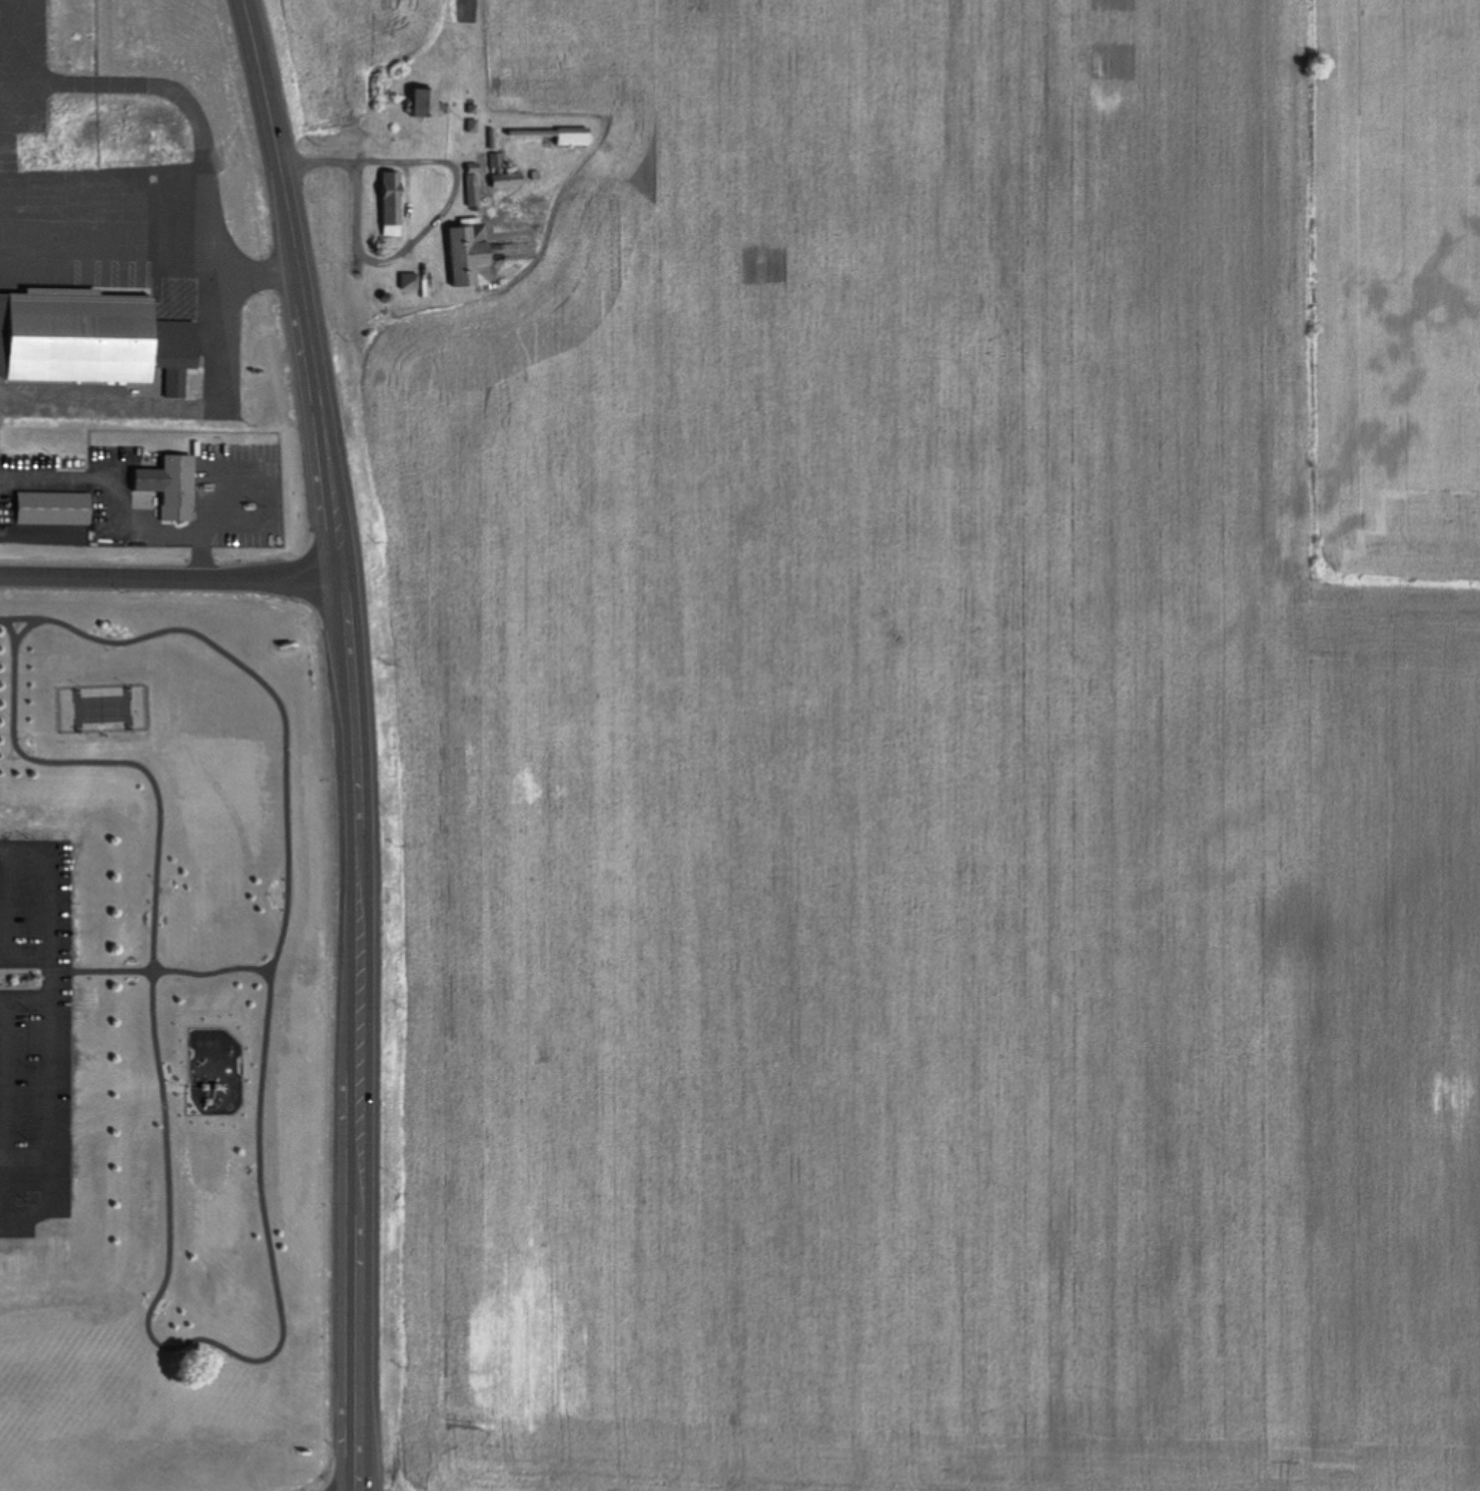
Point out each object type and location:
building: (425, 103)
building: (572, 135)
building: (493, 158)
building: (507, 179)
building: (472, 184)
road: (445, 200)
building: (391, 202)
building: (469, 254)
building: (408, 281)
building: (90, 337)
building: (170, 484)
building: (52, 507)
road: (172, 574)
road: (24, 612)
road: (359, 740)
road: (7, 920)
road: (161, 964)
road: (25, 996)
road: (50, 1026)
road: (8, 1104)
road: (4, 1171)
road: (241, 1350)

